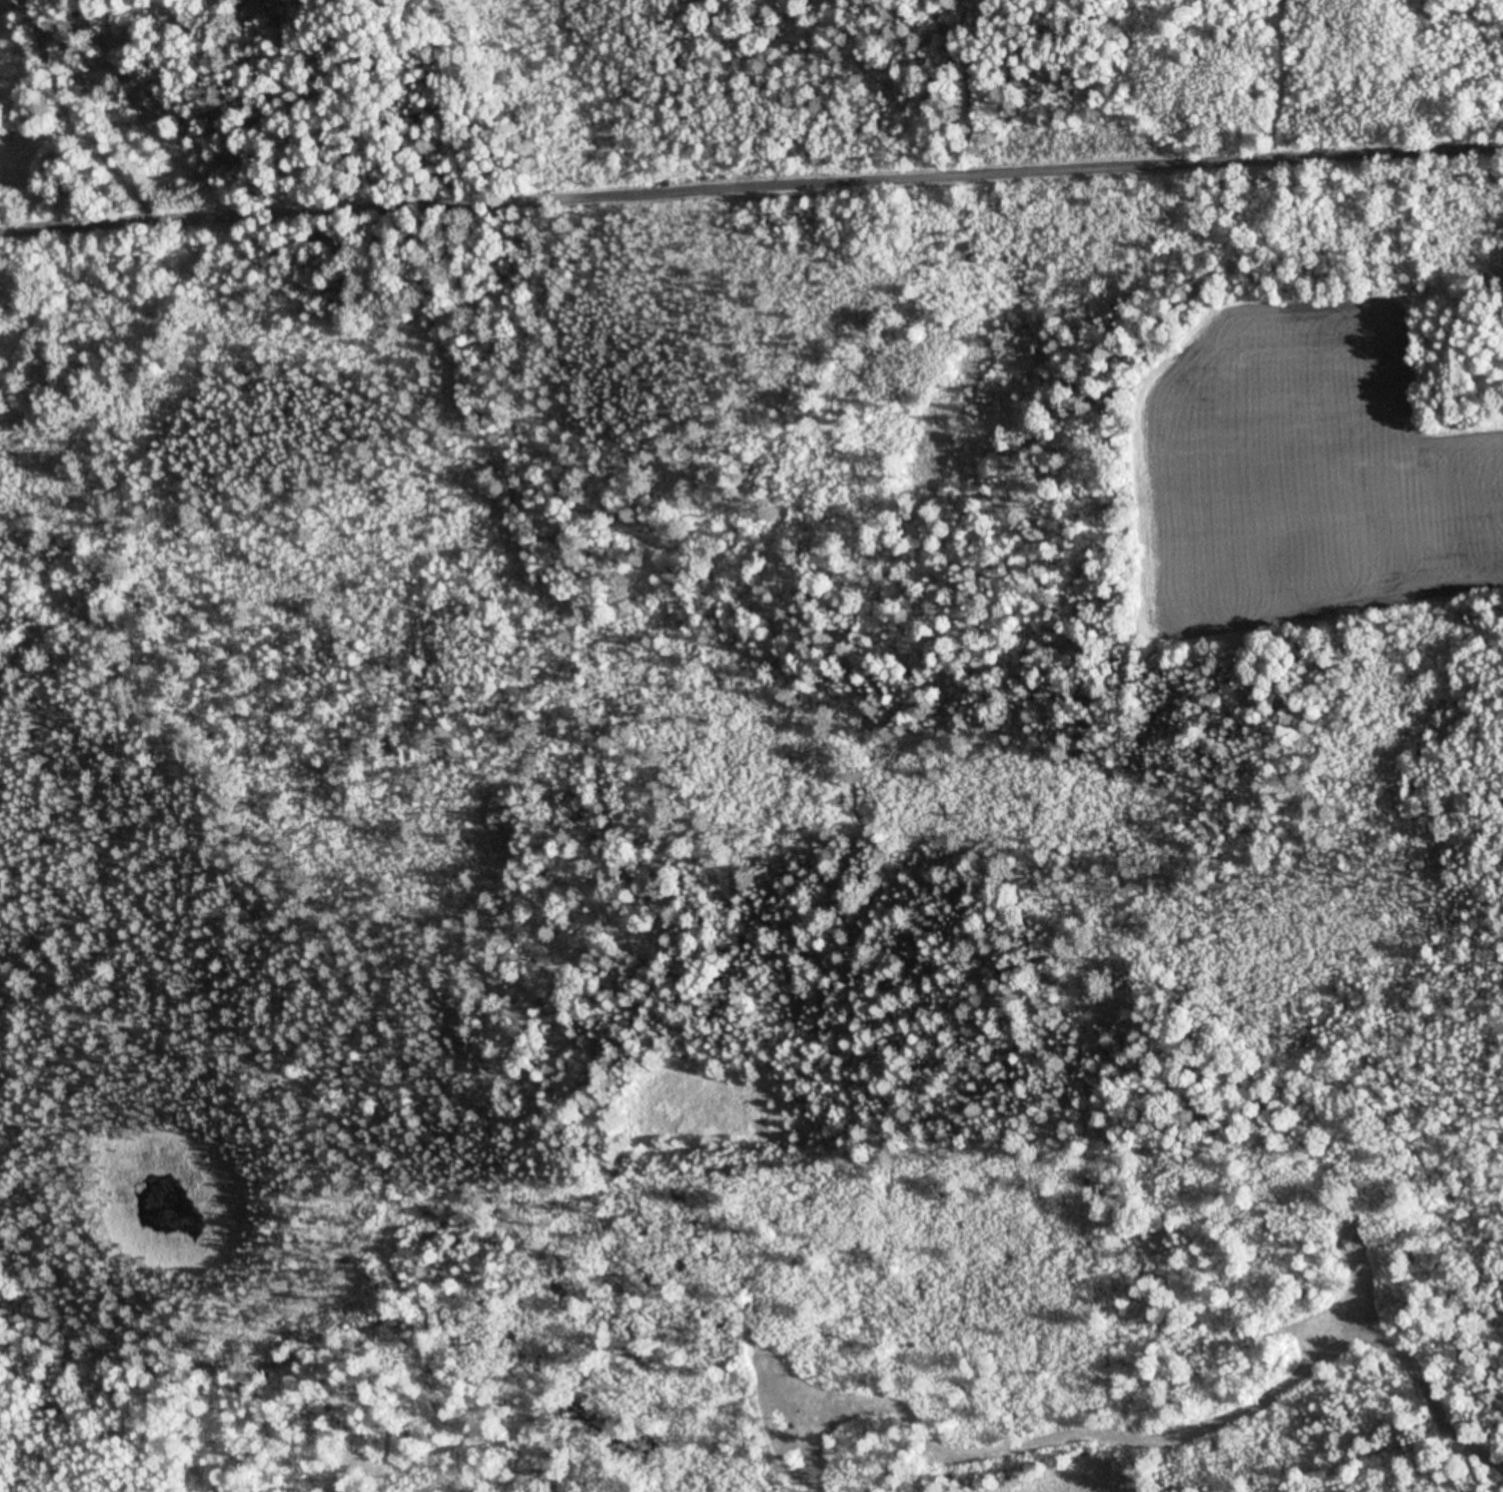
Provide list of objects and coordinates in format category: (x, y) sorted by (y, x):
road: (751, 185)

